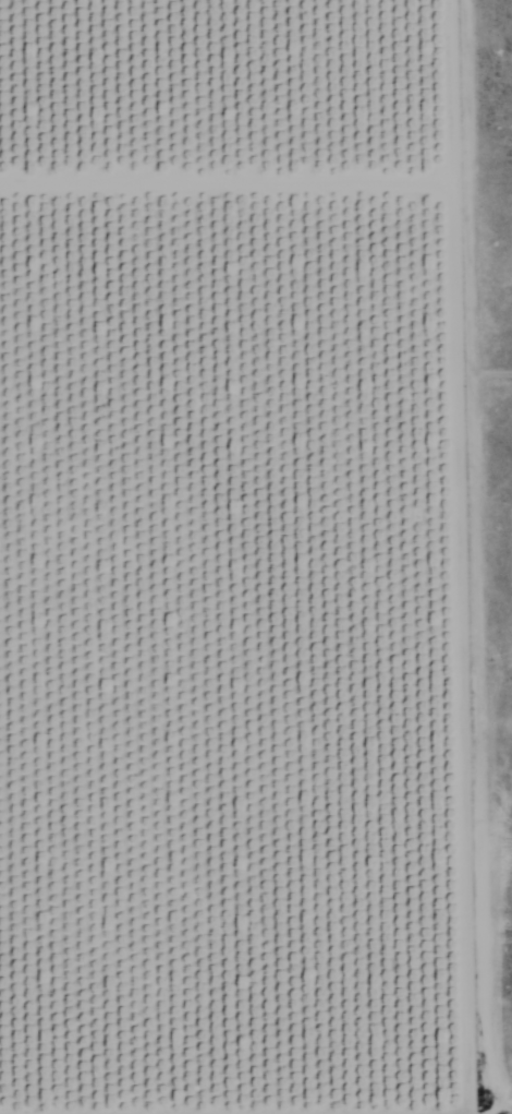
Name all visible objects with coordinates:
crop: (235, 562)
road: (230, 1111)

